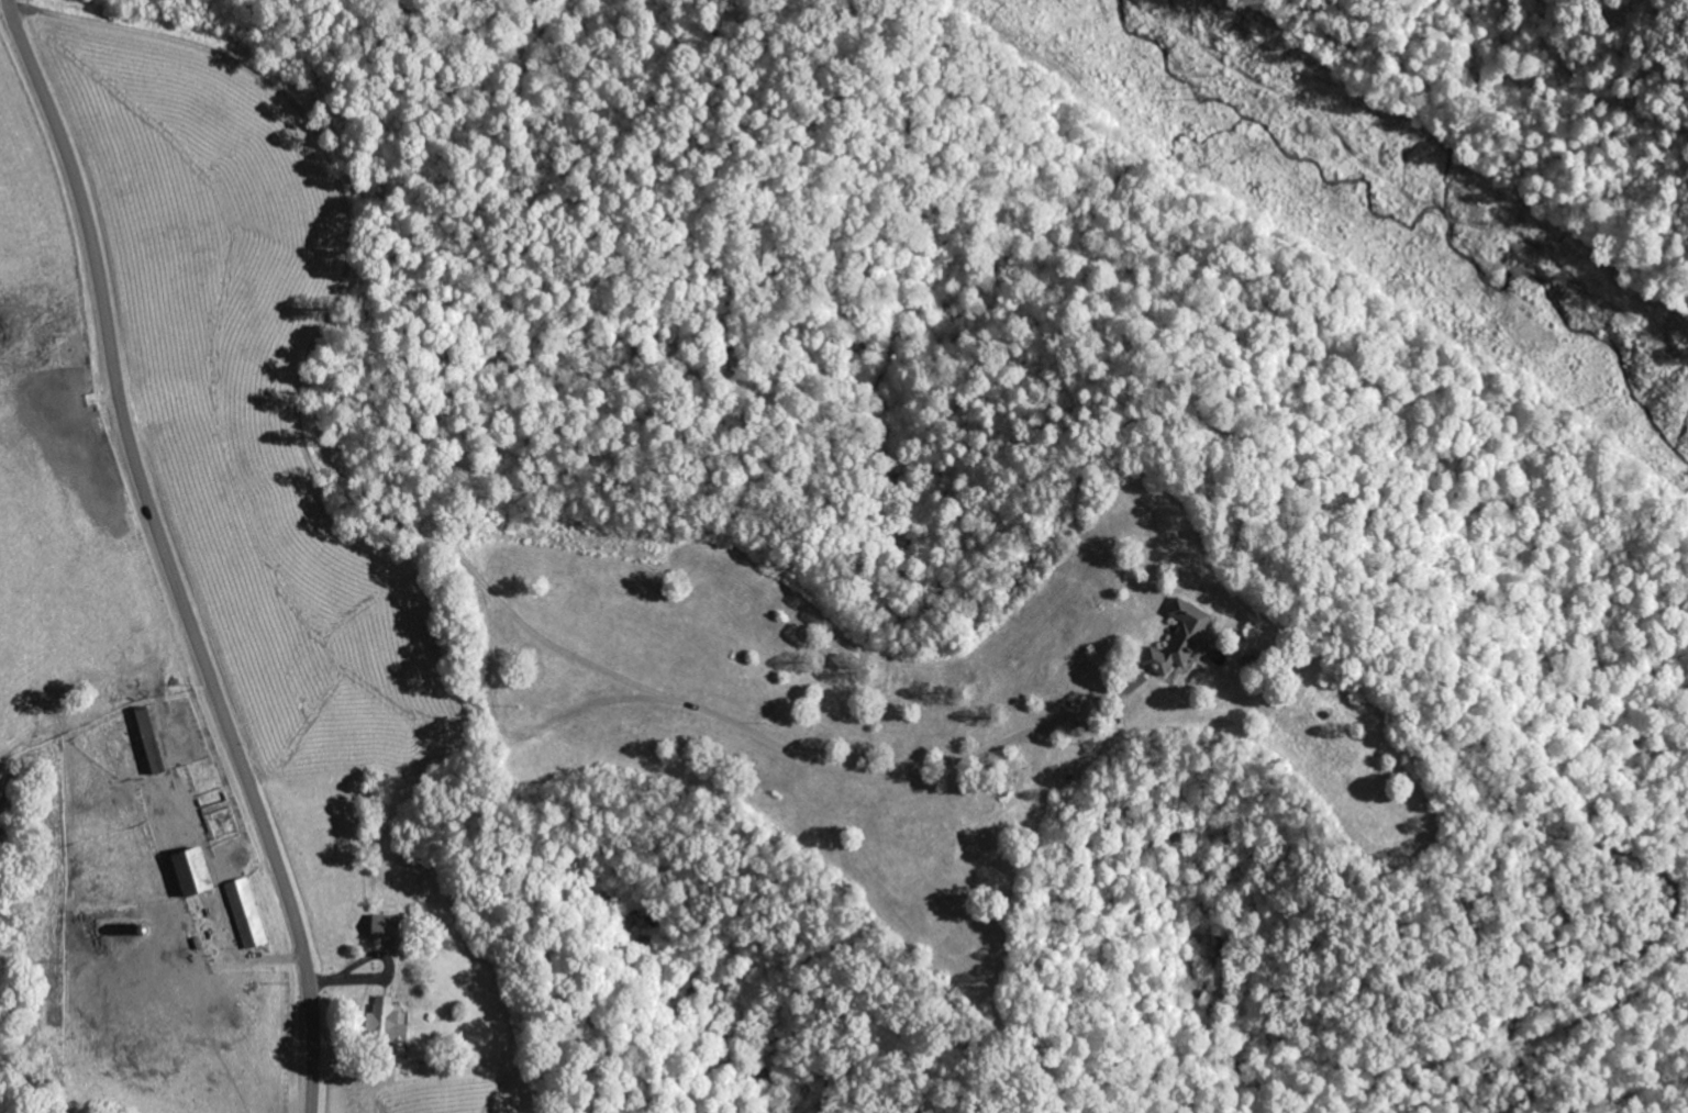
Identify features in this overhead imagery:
power tower: (1210, 81)
road: (164, 556)
building: (1176, 639)
building: (156, 741)
building: (199, 872)
building: (248, 914)
road: (609, 923)
building: (392, 926)
building: (392, 1022)
road: (1459, 1110)

